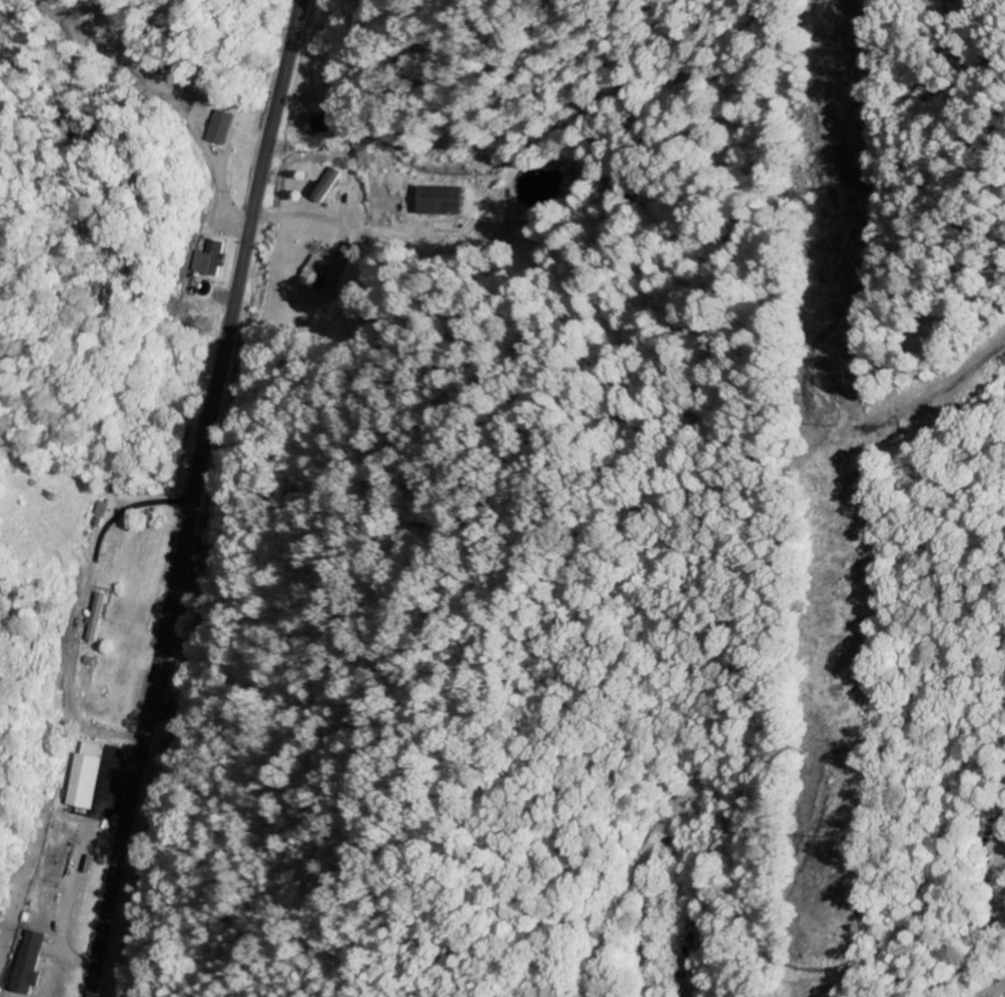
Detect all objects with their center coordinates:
power tower: (830, 0)
building: (221, 129)
building: (328, 186)
building: (446, 202)
building: (211, 259)
building: (317, 275)
power tower: (824, 423)
road: (193, 498)
building: (95, 618)
building: (86, 778)
power tower: (821, 838)
building: (28, 965)

